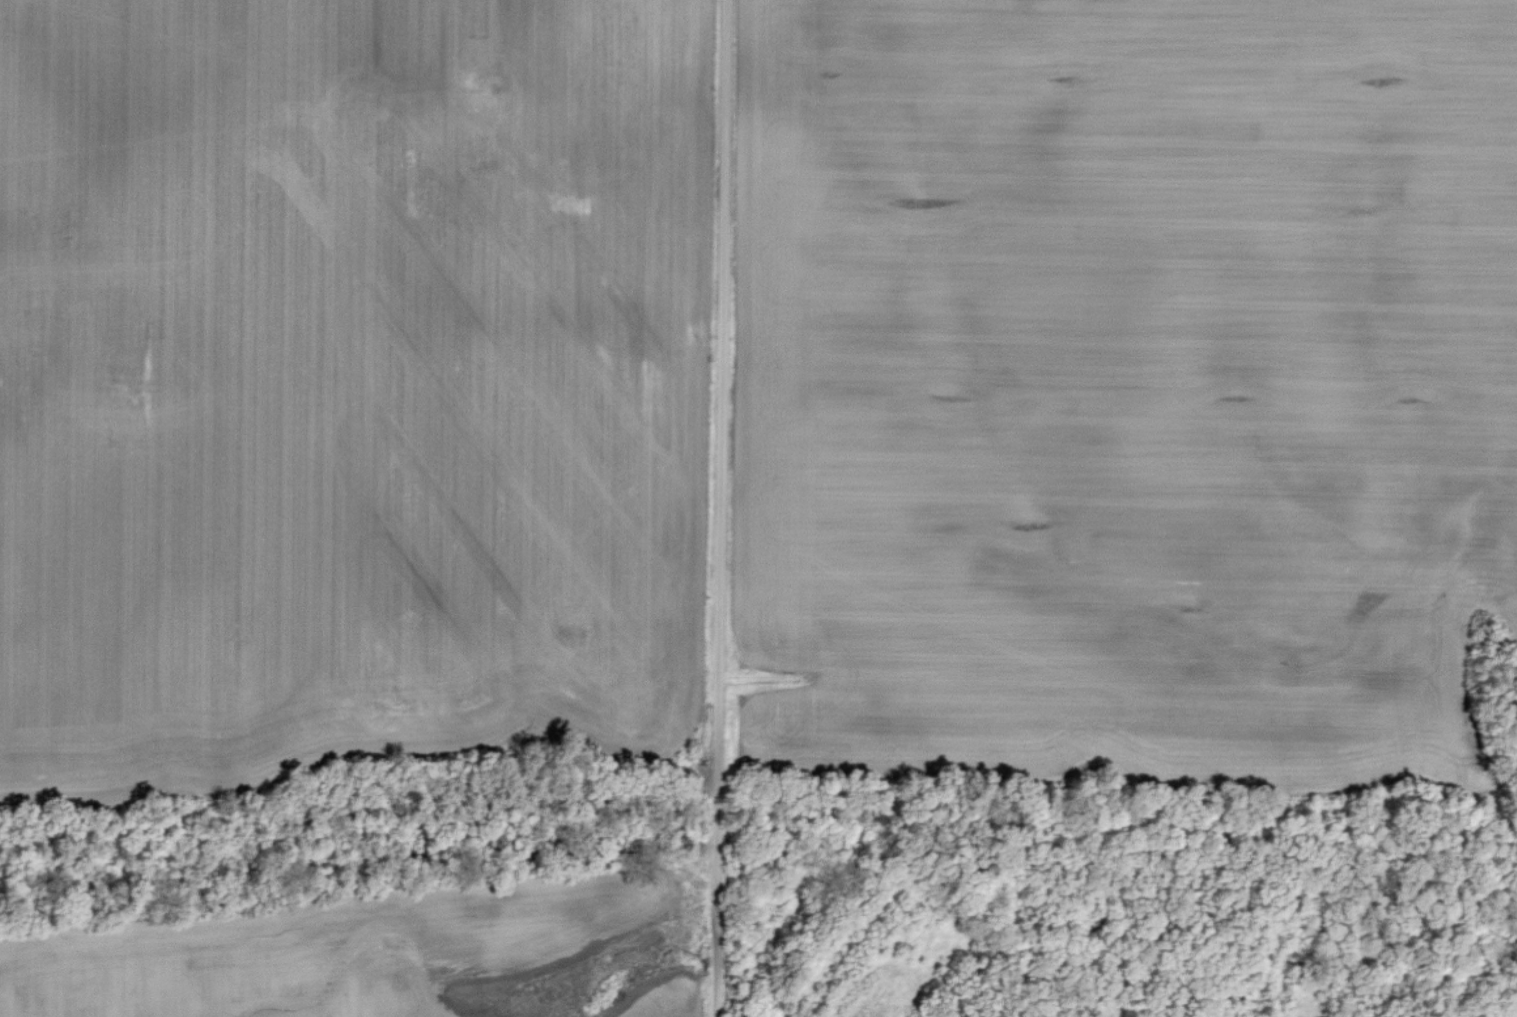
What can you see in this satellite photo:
road: (720, 508)

